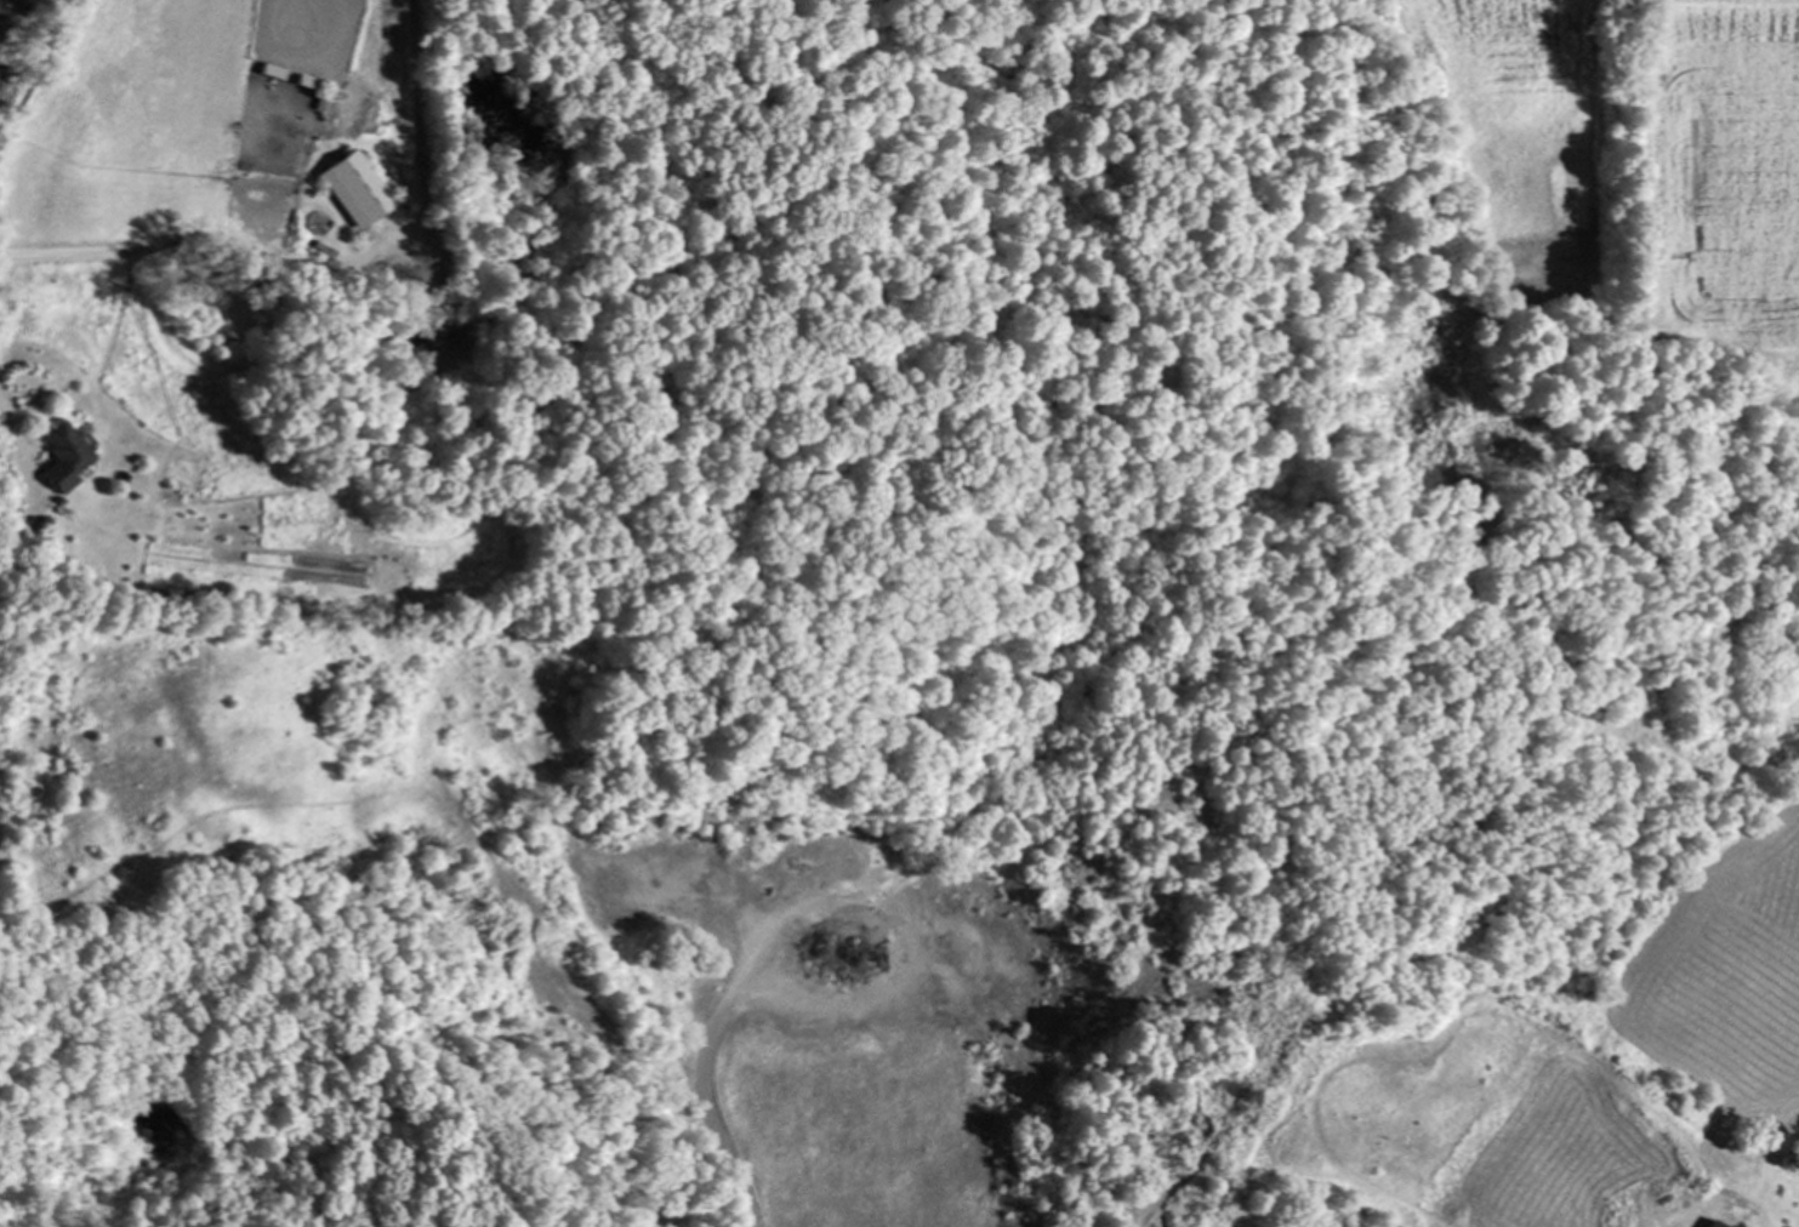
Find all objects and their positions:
building: (274, 72)
building: (311, 82)
building: (353, 188)
building: (64, 457)

